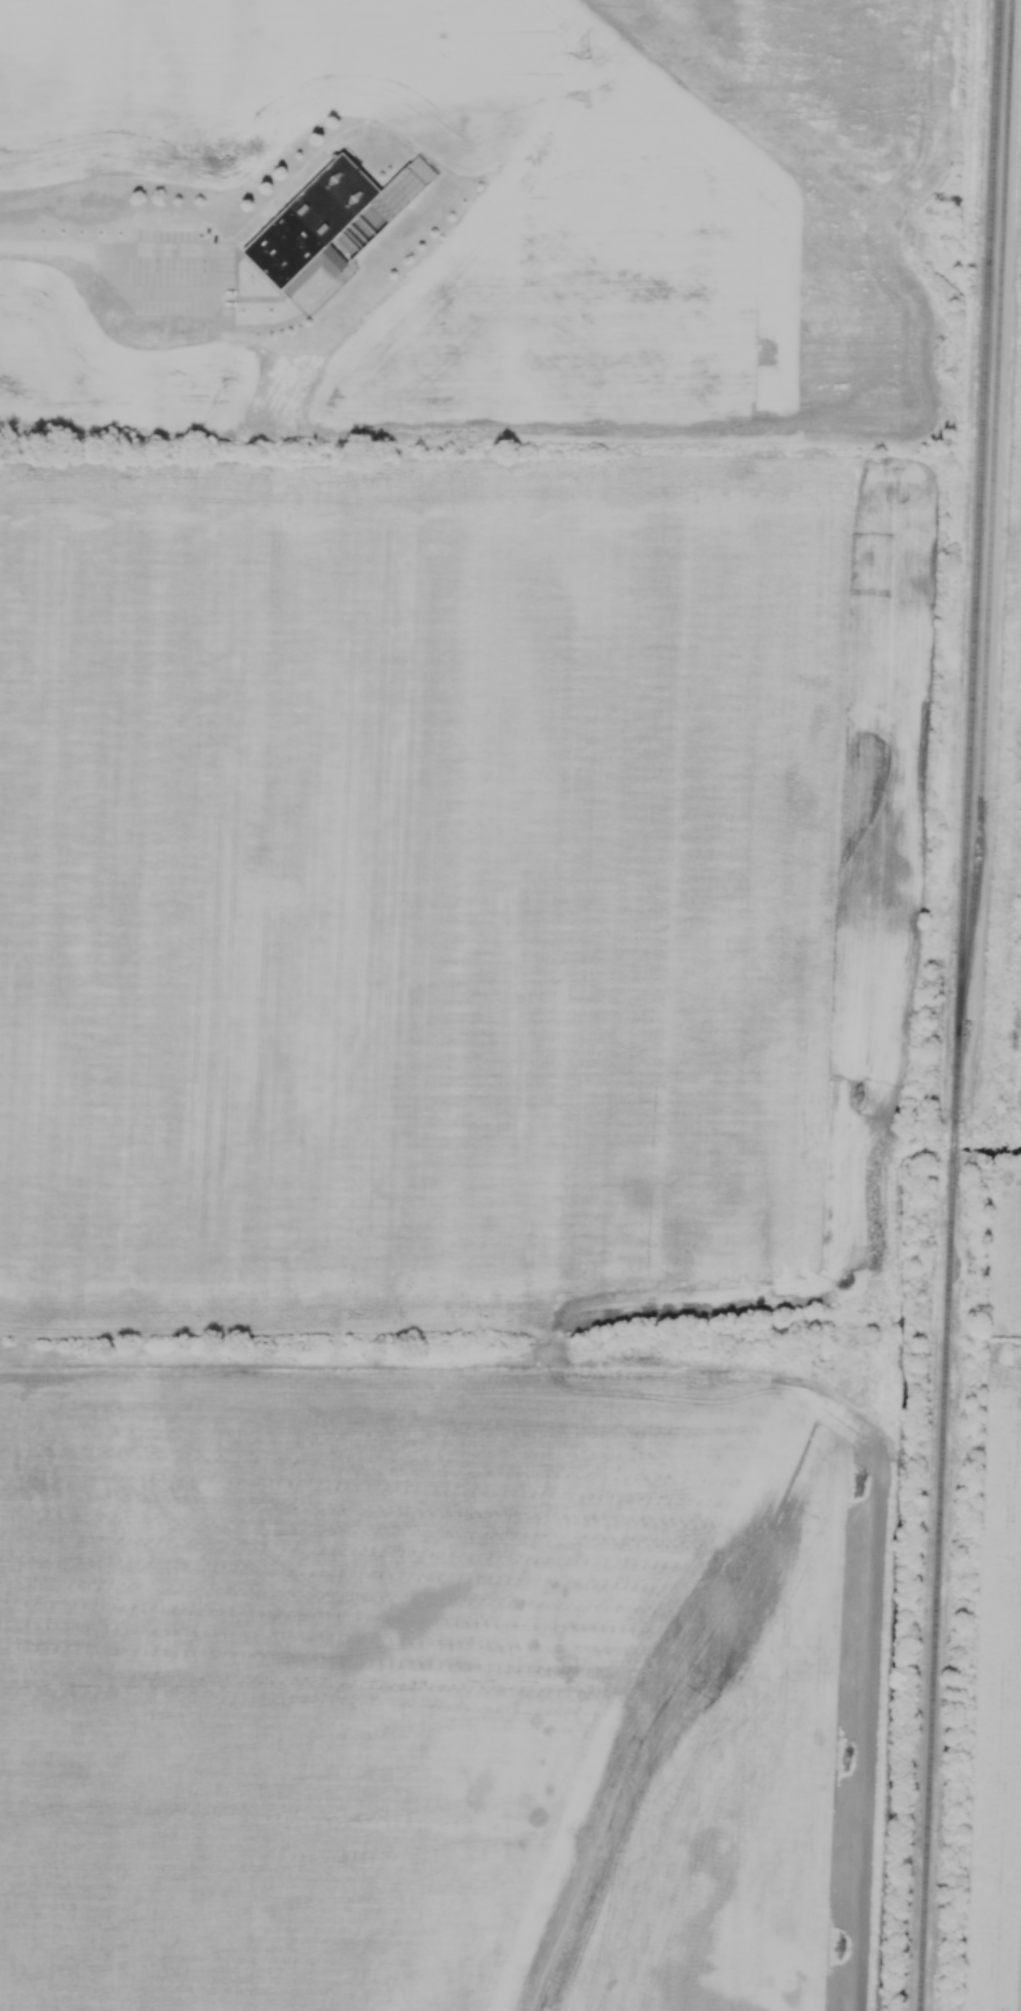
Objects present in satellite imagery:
power tower: (585, 55)
road: (52, 246)
road: (211, 283)
power tower: (945, 365)
railway: (994, 519)
railway: (972, 555)
railway: (948, 1147)
railway: (930, 1596)

